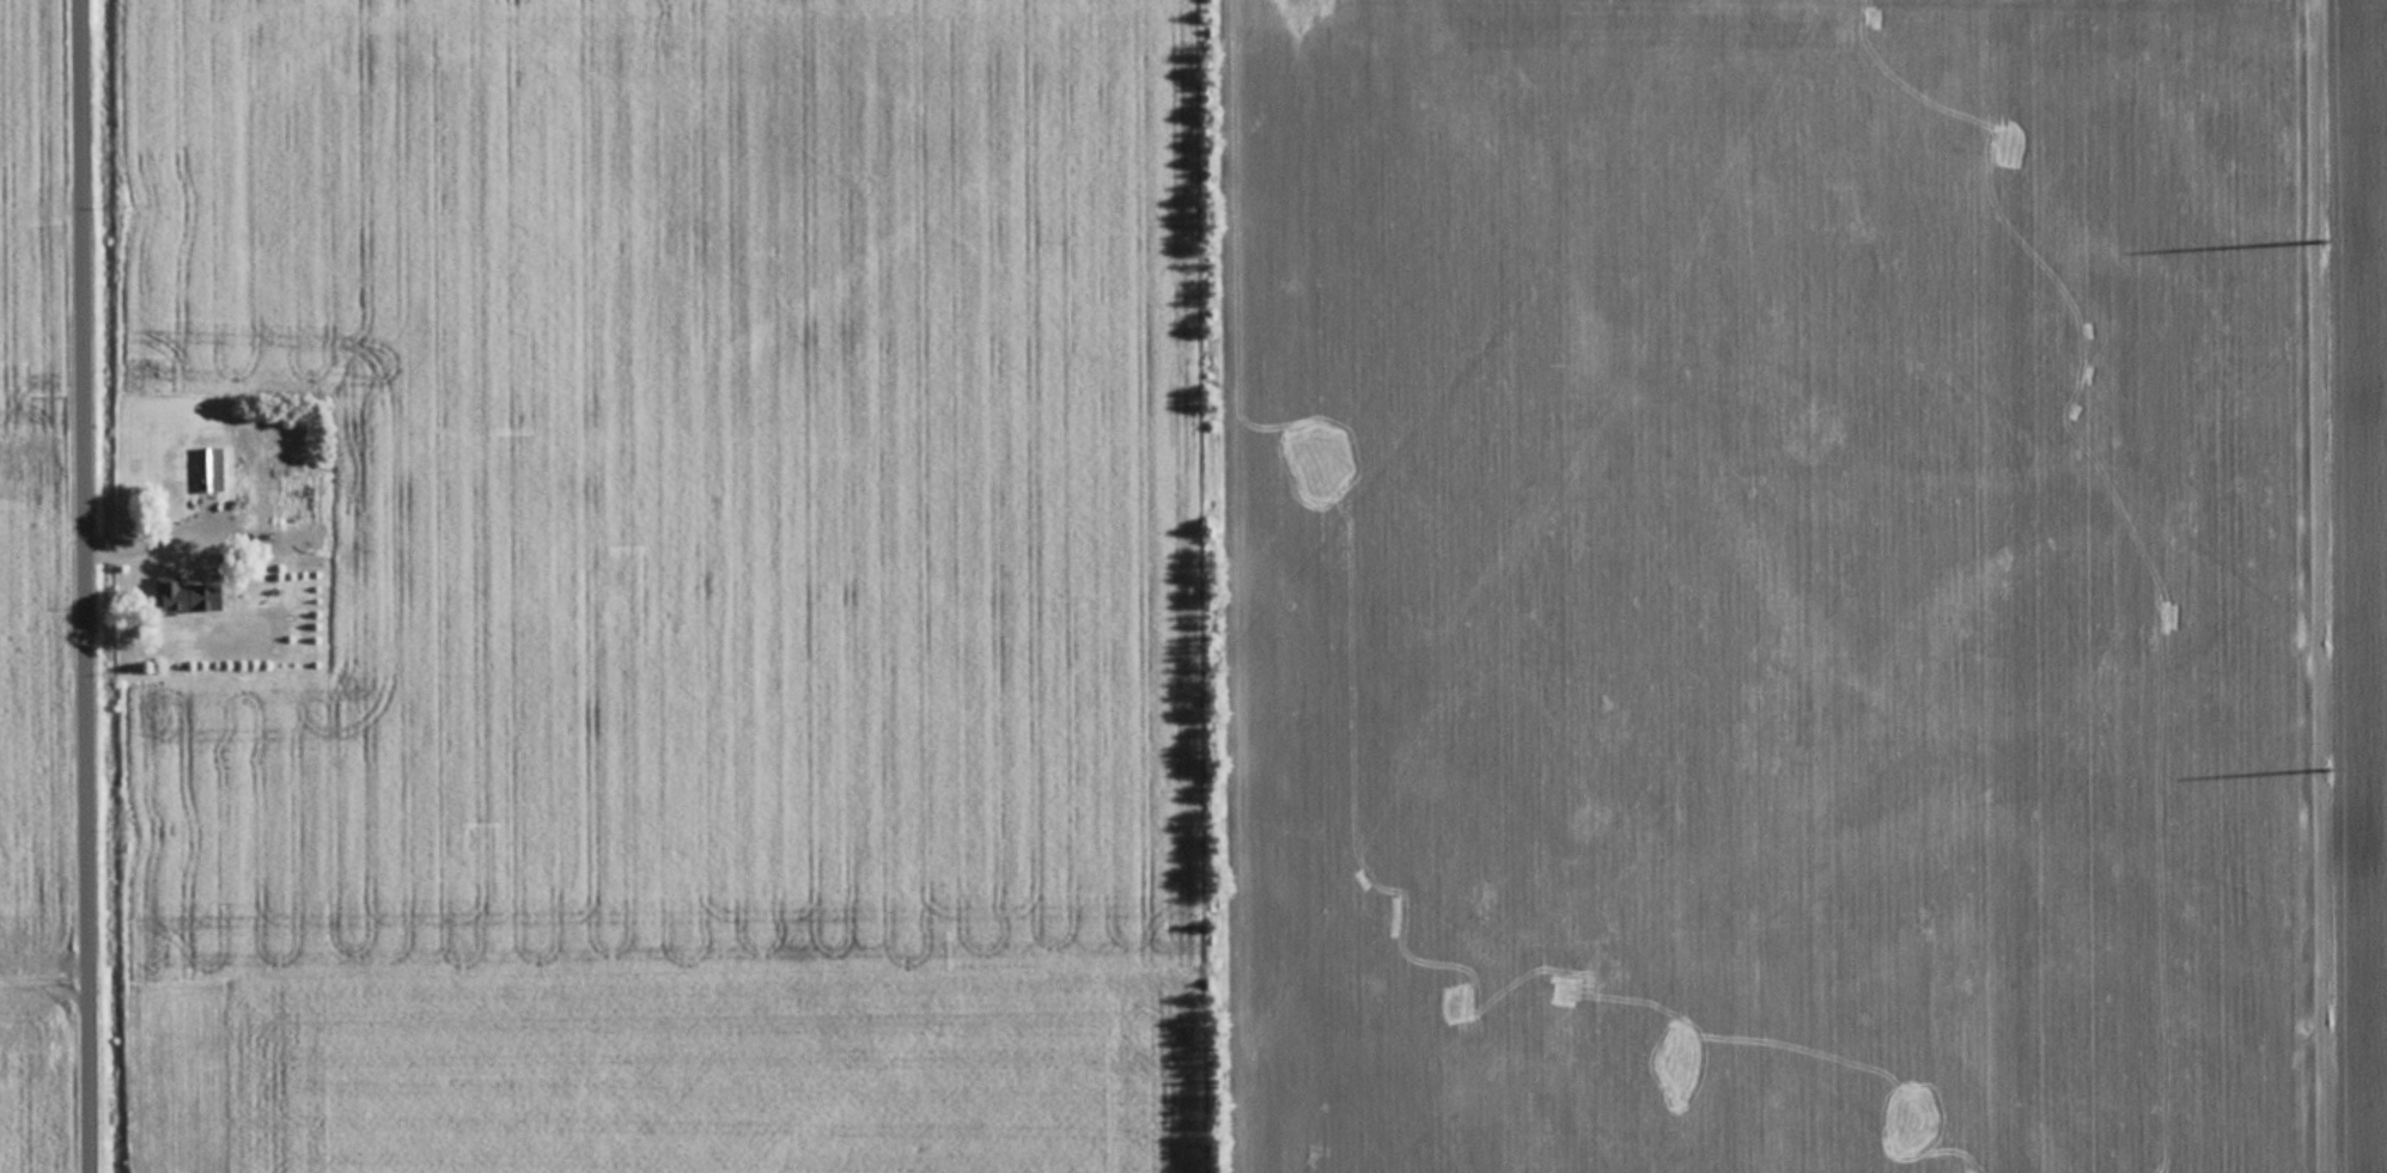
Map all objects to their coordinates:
building: (189, 479)
building: (275, 490)
building: (2095, 499)
road: (87, 586)
building: (188, 595)
building: (1748, 754)

